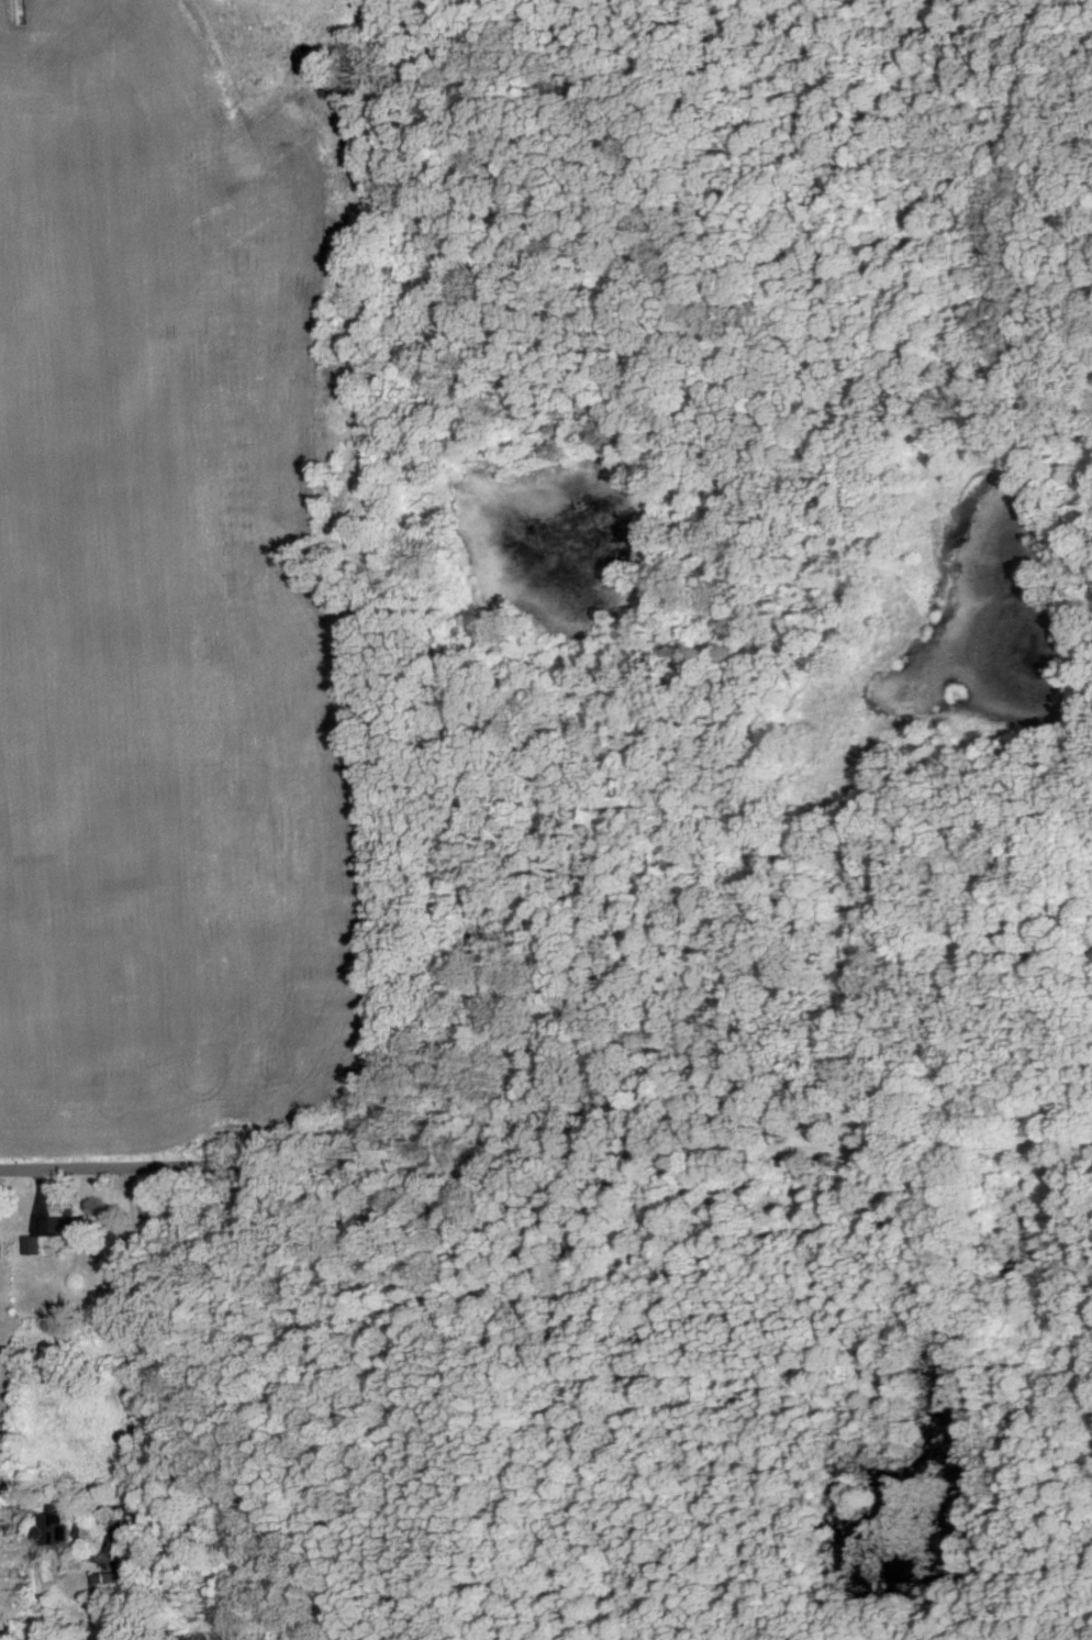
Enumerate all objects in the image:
park: (686, 868)
road: (684, 1154)
road: (138, 1165)
building: (73, 1225)
building: (37, 1243)
road: (135, 1365)
building: (63, 1526)
building: (114, 1582)

